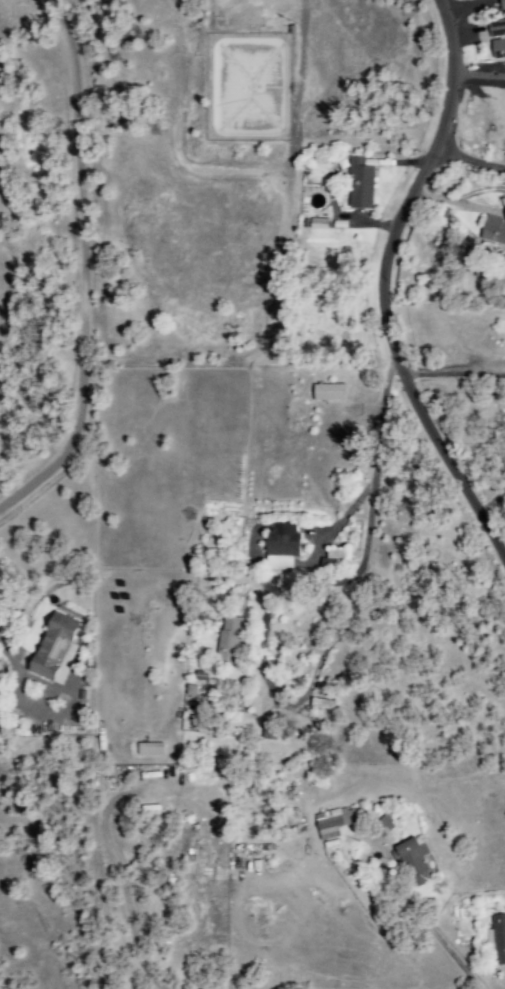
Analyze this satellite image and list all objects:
building: (501, 5)
building: (496, 39)
road: (469, 160)
road: (199, 163)
building: (359, 185)
building: (493, 231)
road: (73, 266)
road: (384, 286)
road: (453, 364)
road: (453, 375)
building: (327, 393)
road: (385, 435)
road: (365, 525)
building: (280, 548)
building: (227, 641)
building: (54, 650)
road: (268, 681)
building: (189, 692)
building: (284, 733)
building: (148, 750)
building: (335, 822)
building: (382, 826)
building: (412, 862)
building: (498, 940)

